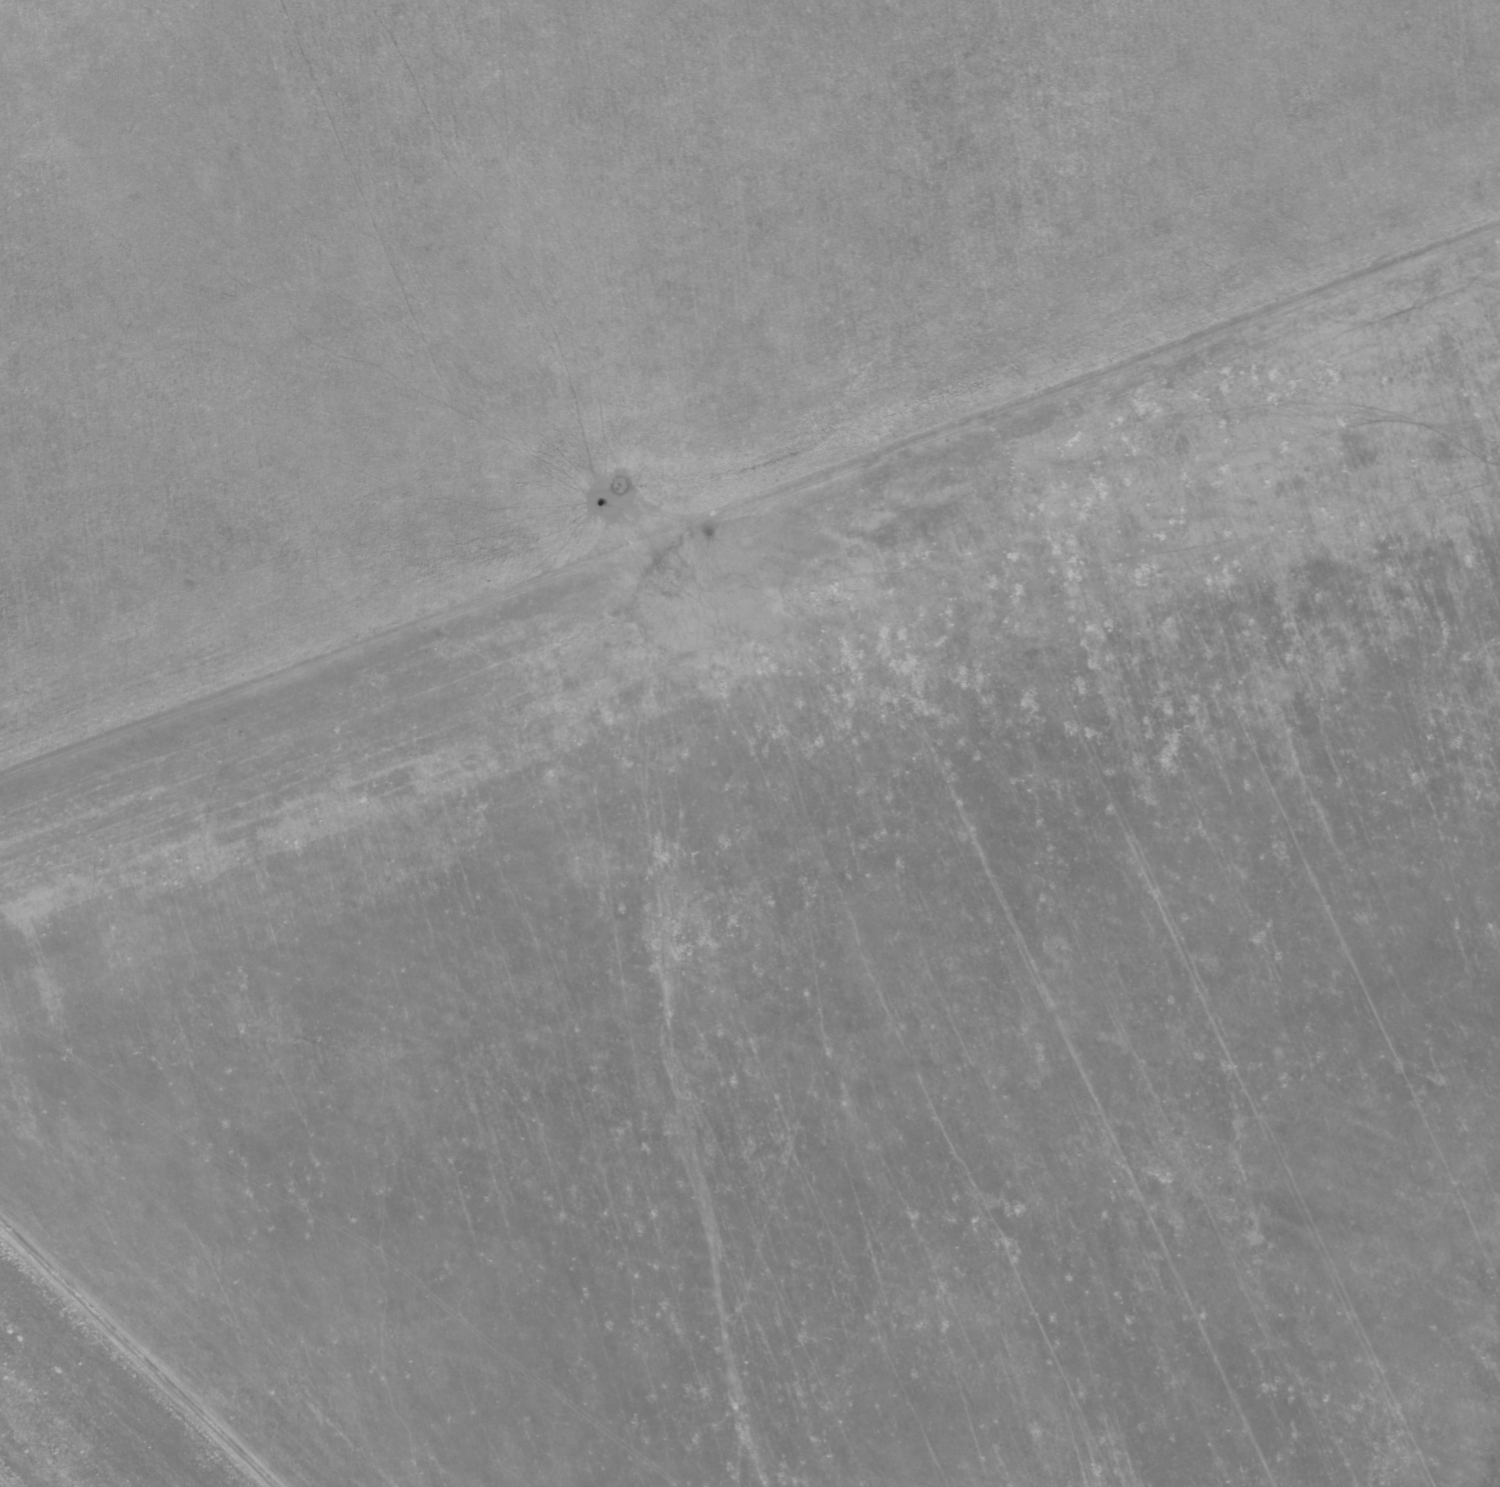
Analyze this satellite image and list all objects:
road: (20, 1341)
road: (107, 1424)

